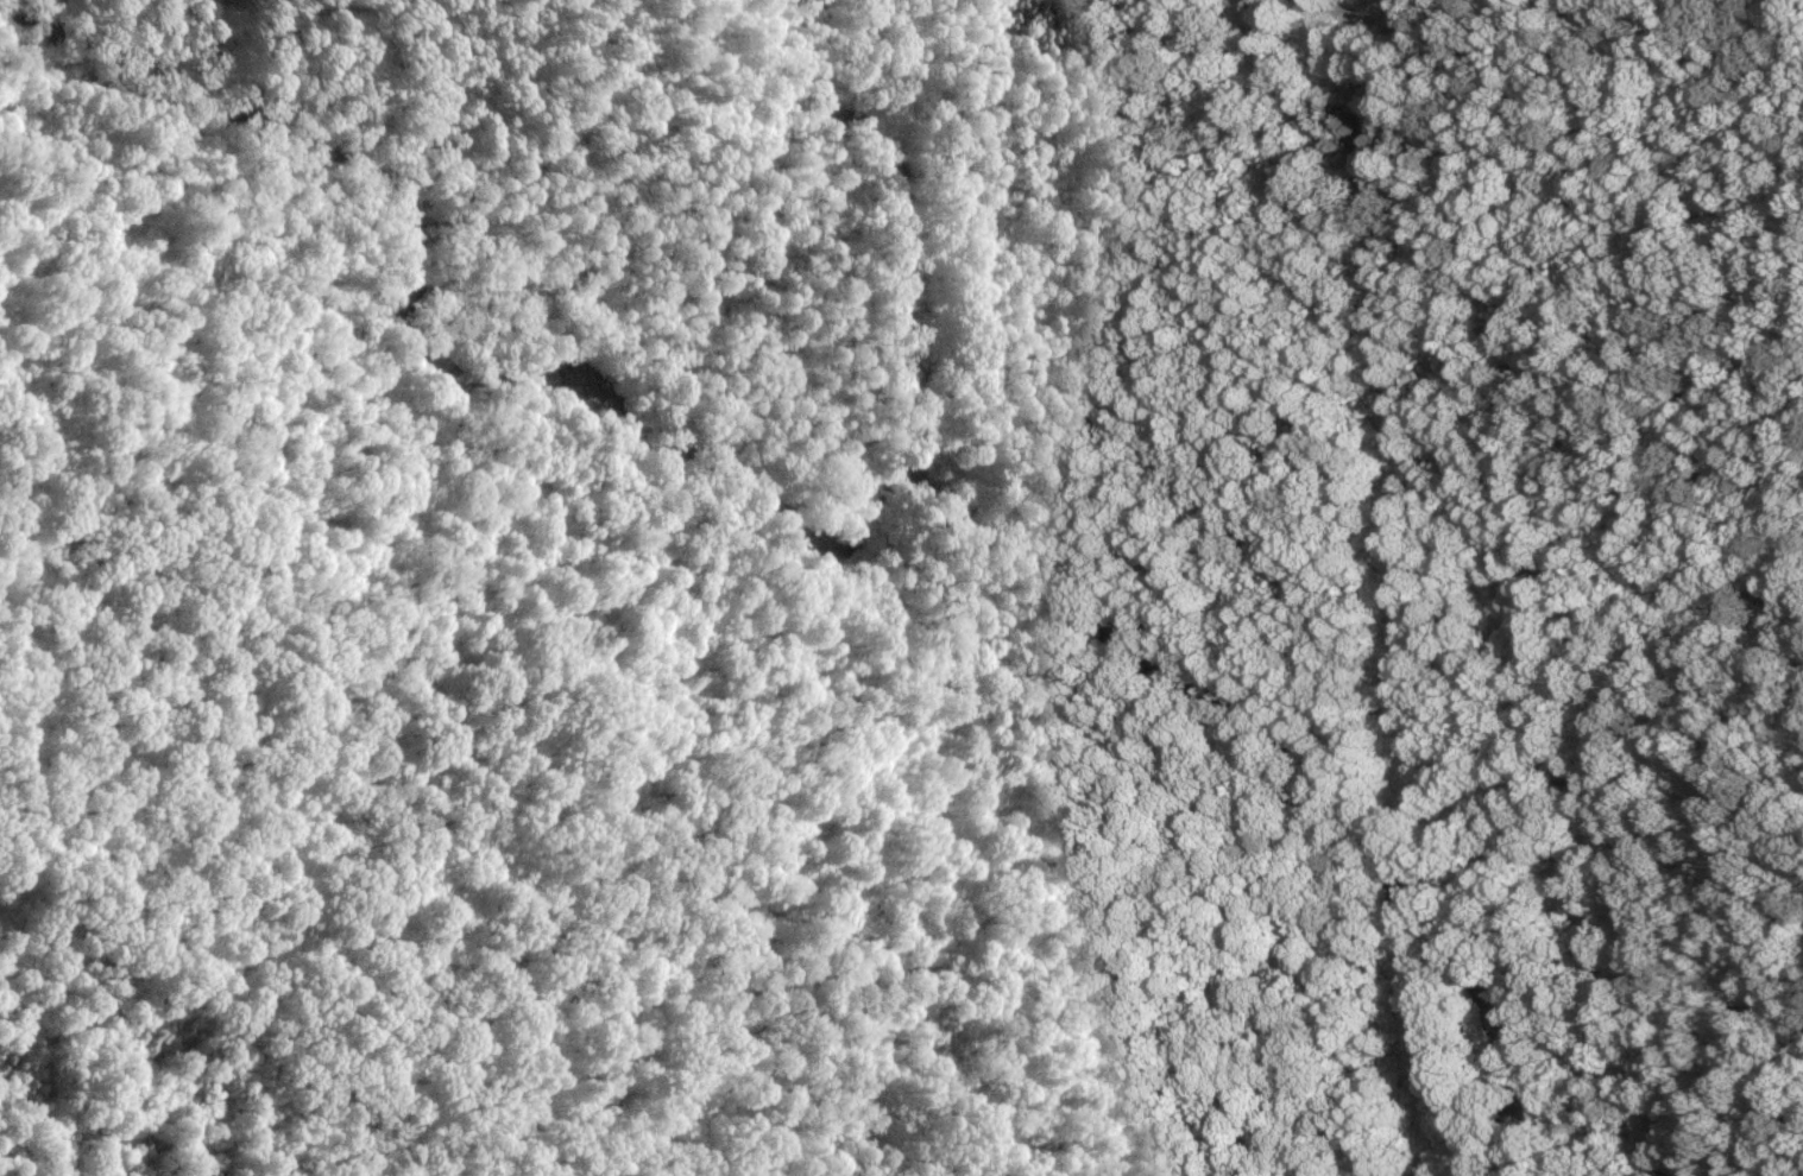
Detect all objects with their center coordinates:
road: (1559, 543)
road: (1763, 681)

